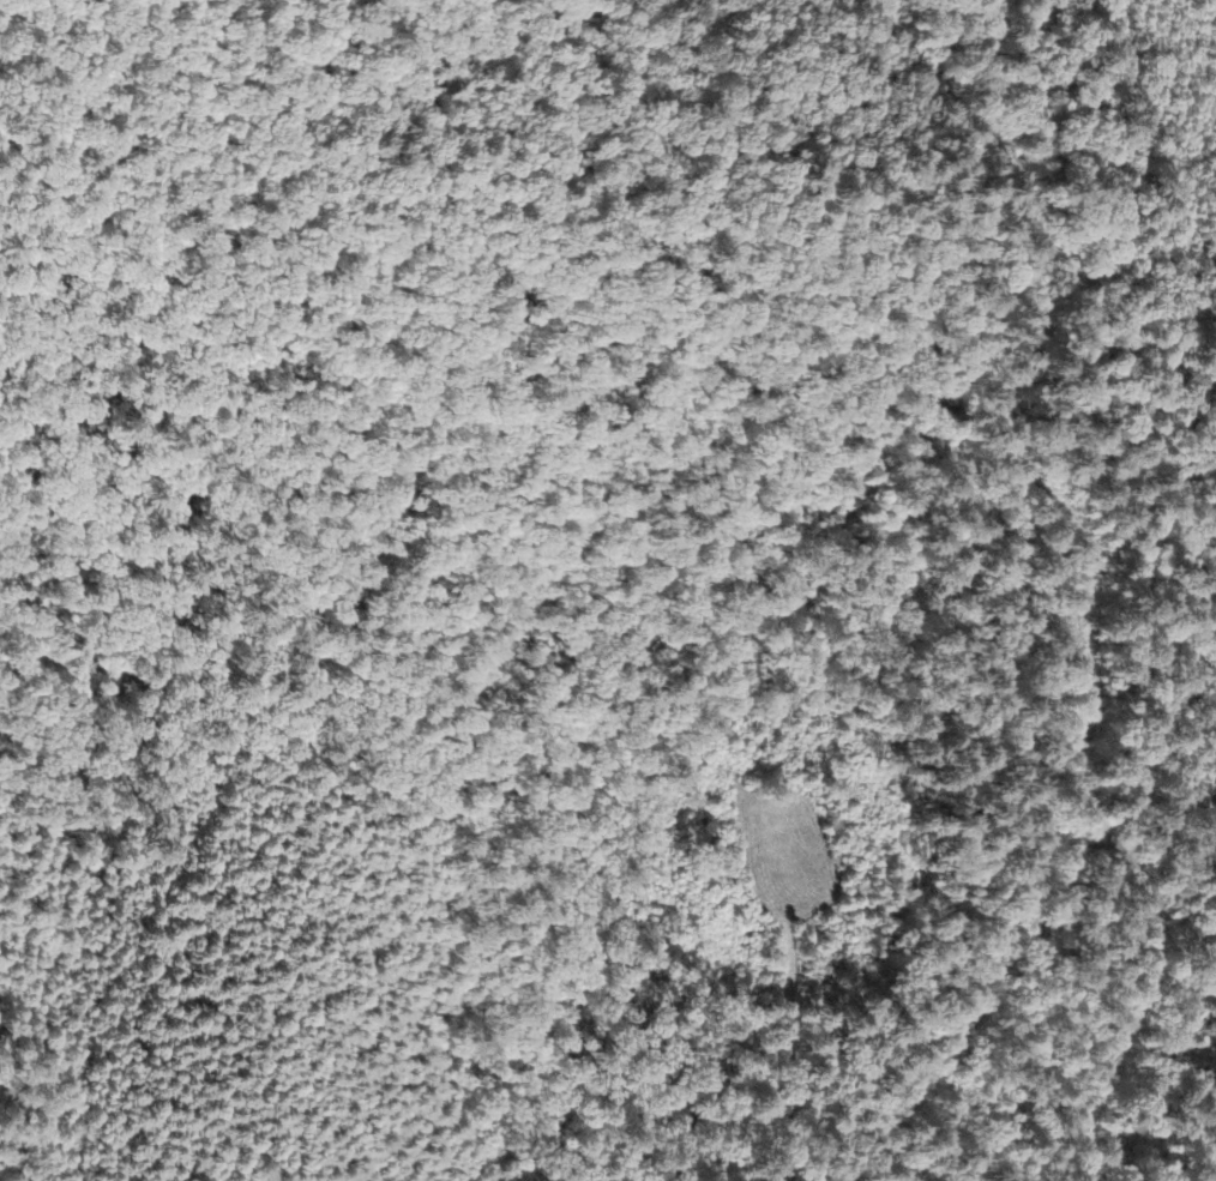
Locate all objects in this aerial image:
road: (781, 974)

